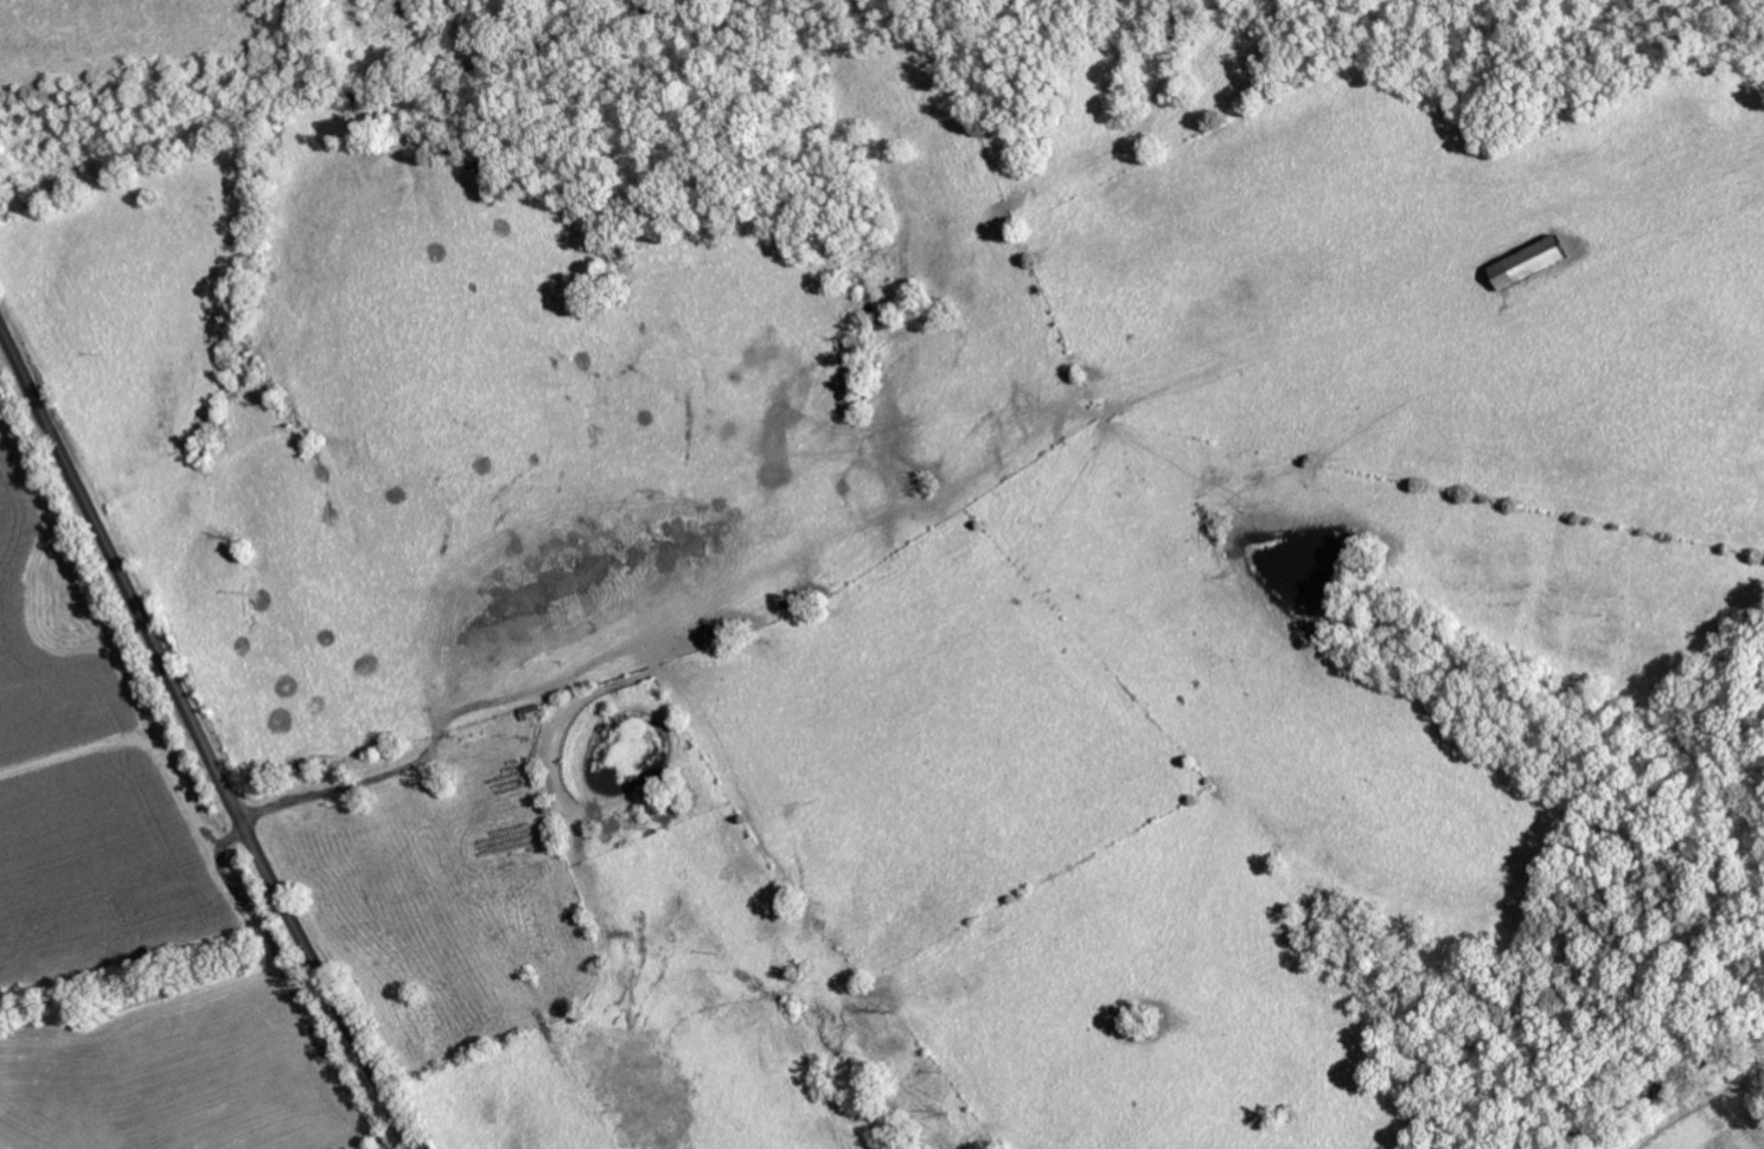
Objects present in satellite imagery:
building: (1527, 259)
road: (200, 743)

